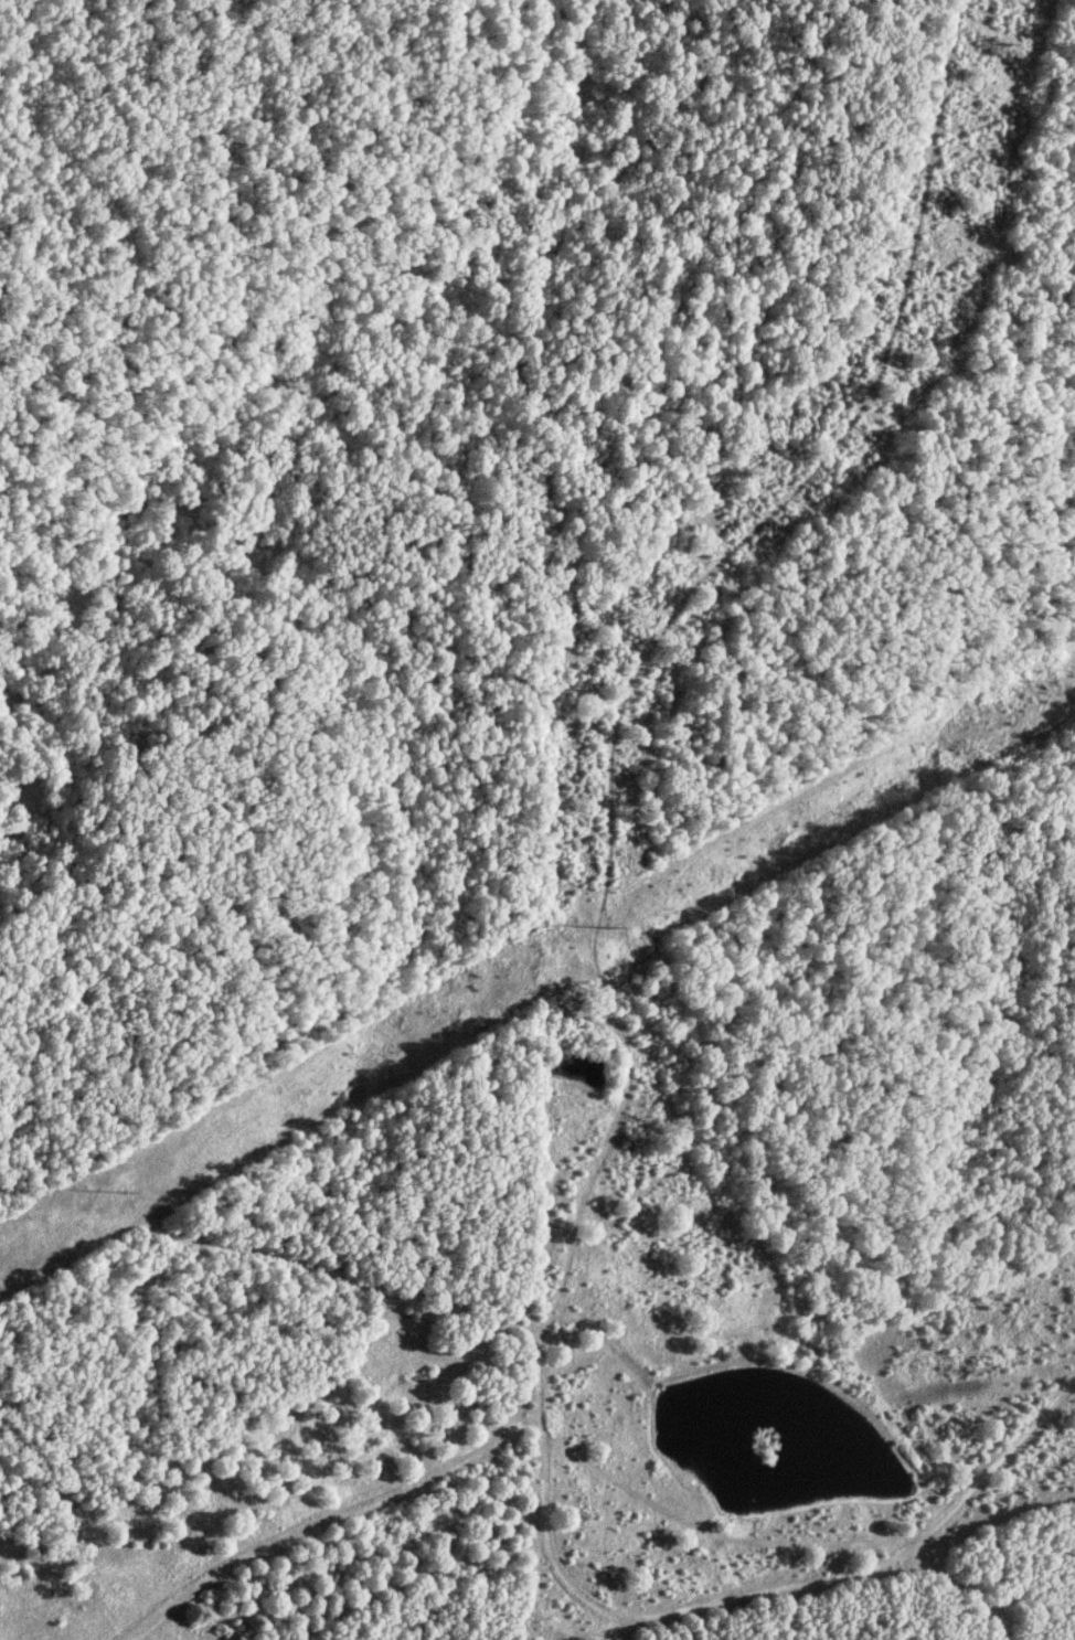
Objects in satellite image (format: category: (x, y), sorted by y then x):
road: (73, 440)

